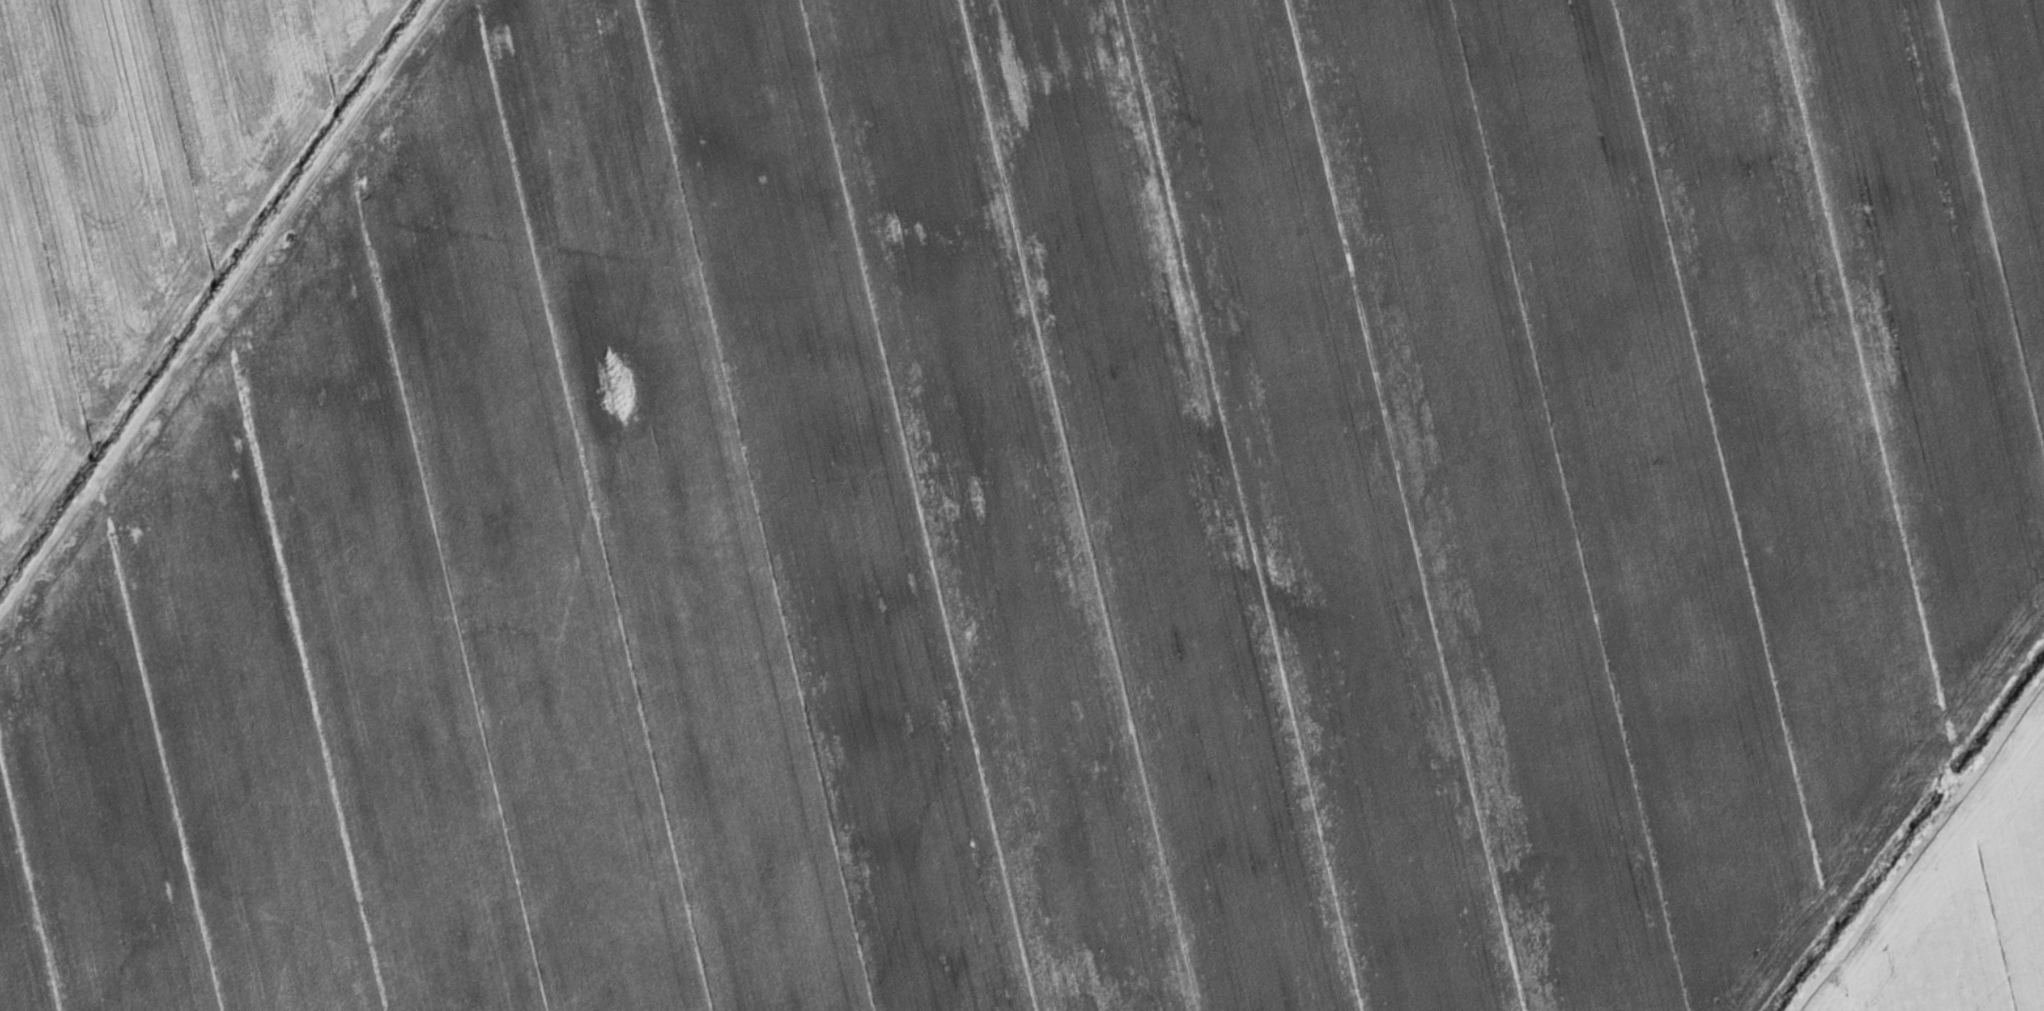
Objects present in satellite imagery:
crop: (1059, 516)
road: (1917, 845)
crop: (1962, 904)

